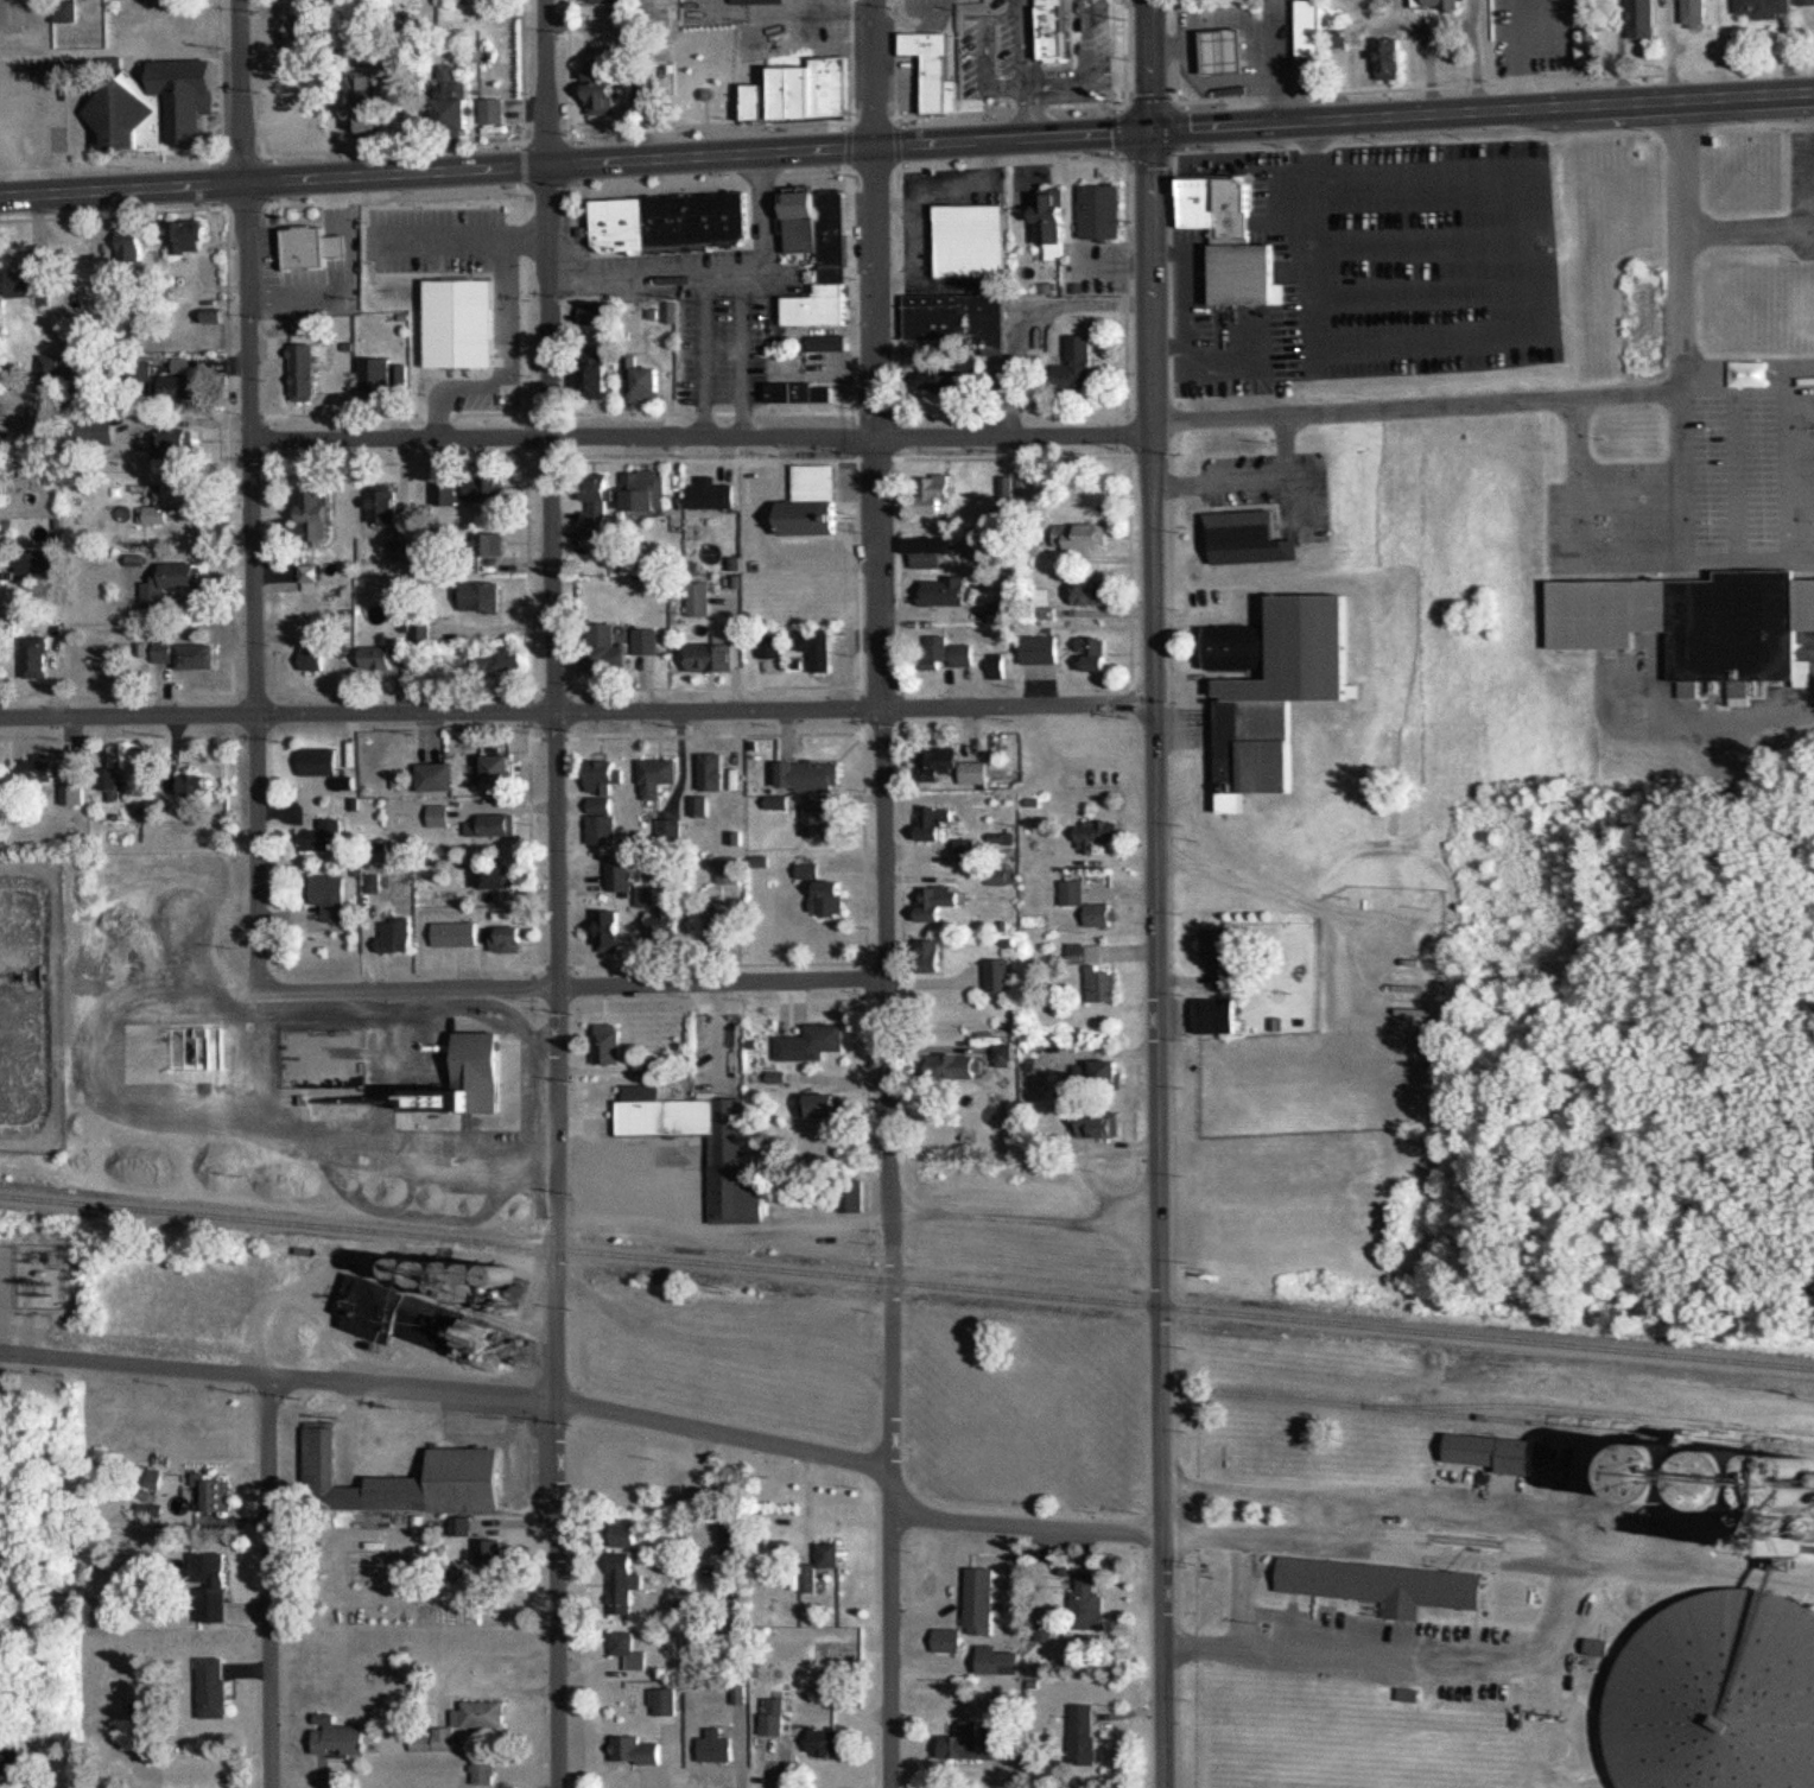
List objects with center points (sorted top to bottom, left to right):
building: (613, 2)
building: (1435, 2)
building: (1806, 2)
building: (1765, 8)
building: (65, 11)
building: (1693, 12)
building: (1642, 19)
building: (1036, 23)
building: (1542, 26)
building: (1311, 27)
building: (1228, 49)
building: (1389, 57)
road: (1146, 65)
building: (935, 68)
road: (874, 74)
road: (547, 83)
building: (814, 88)
building: (602, 89)
building: (711, 89)
road: (241, 91)
building: (757, 101)
building: (362, 102)
building: (453, 104)
building: (159, 106)
building: (495, 110)
road: (1480, 112)
road: (694, 158)
road: (121, 190)
road: (1371, 208)
building: (1102, 211)
building: (1053, 220)
building: (671, 222)
building: (189, 237)
building: (1232, 239)
building: (973, 240)
road: (1375, 242)
building: (129, 246)
building: (312, 248)
building: (836, 274)
road: (1377, 279)
building: (32, 280)
road: (1378, 312)
building: (590, 315)
building: (957, 318)
building: (830, 343)
road: (1417, 347)
building: (1073, 368)
building: (141, 372)
building: (303, 372)
building: (375, 373)
building: (605, 376)
building: (950, 380)
building: (647, 383)
building: (182, 388)
building: (801, 393)
road: (1558, 394)
road: (186, 418)
building: (99, 429)
road: (702, 437)
building: (177, 443)
road: (1251, 477)
building: (1007, 487)
building: (484, 488)
building: (645, 492)
building: (932, 493)
building: (448, 494)
building: (179, 495)
road: (1295, 497)
building: (712, 499)
building: (813, 502)
building: (598, 505)
building: (383, 506)
building: (312, 518)
building: (1087, 537)
building: (1251, 537)
building: (491, 546)
building: (931, 550)
building: (613, 559)
building: (172, 582)
building: (945, 590)
building: (1092, 592)
building: (481, 596)
building: (698, 598)
building: (1694, 623)
building: (421, 630)
building: (646, 641)
building: (772, 645)
building: (818, 648)
building: (613, 649)
building: (1041, 651)
building: (935, 652)
building: (163, 653)
building: (1095, 653)
building: (387, 654)
building: (196, 655)
building: (963, 655)
building: (36, 657)
building: (705, 657)
building: (311, 659)
building: (501, 660)
road: (256, 687)
building: (1279, 687)
road: (577, 715)
building: (324, 765)
building: (956, 767)
building: (38, 768)
building: (502, 768)
building: (712, 773)
building: (811, 775)
building: (436, 776)
building: (657, 779)
building: (196, 786)
building: (71, 792)
building: (602, 800)
building: (820, 820)
building: (937, 824)
building: (490, 825)
building: (1095, 835)
building: (324, 836)
building: (729, 870)
building: (808, 870)
building: (620, 873)
building: (500, 876)
building: (329, 895)
building: (646, 895)
building: (832, 898)
building: (185, 901)
building: (938, 901)
building: (1099, 914)
building: (666, 924)
building: (610, 931)
building: (455, 933)
building: (394, 936)
building: (506, 938)
building: (1217, 949)
building: (933, 956)
road: (1156, 959)
road: (886, 968)
building: (1093, 971)
building: (1000, 975)
road: (556, 977)
road: (559, 988)
building: (27, 1012)
building: (1214, 1015)
building: (812, 1042)
building: (607, 1045)
building: (646, 1065)
building: (958, 1066)
building: (1098, 1073)
building: (465, 1089)
building: (826, 1107)
building: (672, 1117)
building: (1098, 1124)
building: (735, 1188)
building: (852, 1194)
railway: (157, 1200)
railway: (104, 1207)
road: (716, 1226)
railway: (1010, 1293)
building: (427, 1324)
road: (448, 1390)
railway: (1586, 1412)
railway: (1516, 1420)
building: (1501, 1451)
building: (1662, 1475)
silo: (1662, 1475)
building: (407, 1479)
building: (1730, 1482)
silo: (1730, 1482)
building: (216, 1495)
road: (1027, 1527)
building: (624, 1534)
building: (731, 1537)
building: (490, 1552)
building: (830, 1554)
building: (807, 1579)
road: (269, 1583)
building: (622, 1583)
building: (1382, 1583)
building: (210, 1585)
road: (1242, 1590)
building: (983, 1600)
building: (1089, 1600)
building: (949, 1640)
building: (628, 1650)
road: (1318, 1659)
building: (1002, 1661)
building: (214, 1687)
building: (1719, 1694)
silo: (1719, 1694)
building: (1408, 1695)
building: (665, 1701)
building: (1086, 1735)
building: (341, 1738)
building: (976, 1741)
building: (825, 1742)
building: (716, 1746)
building: (636, 1749)
building: (9, 1763)
building: (483, 1770)

